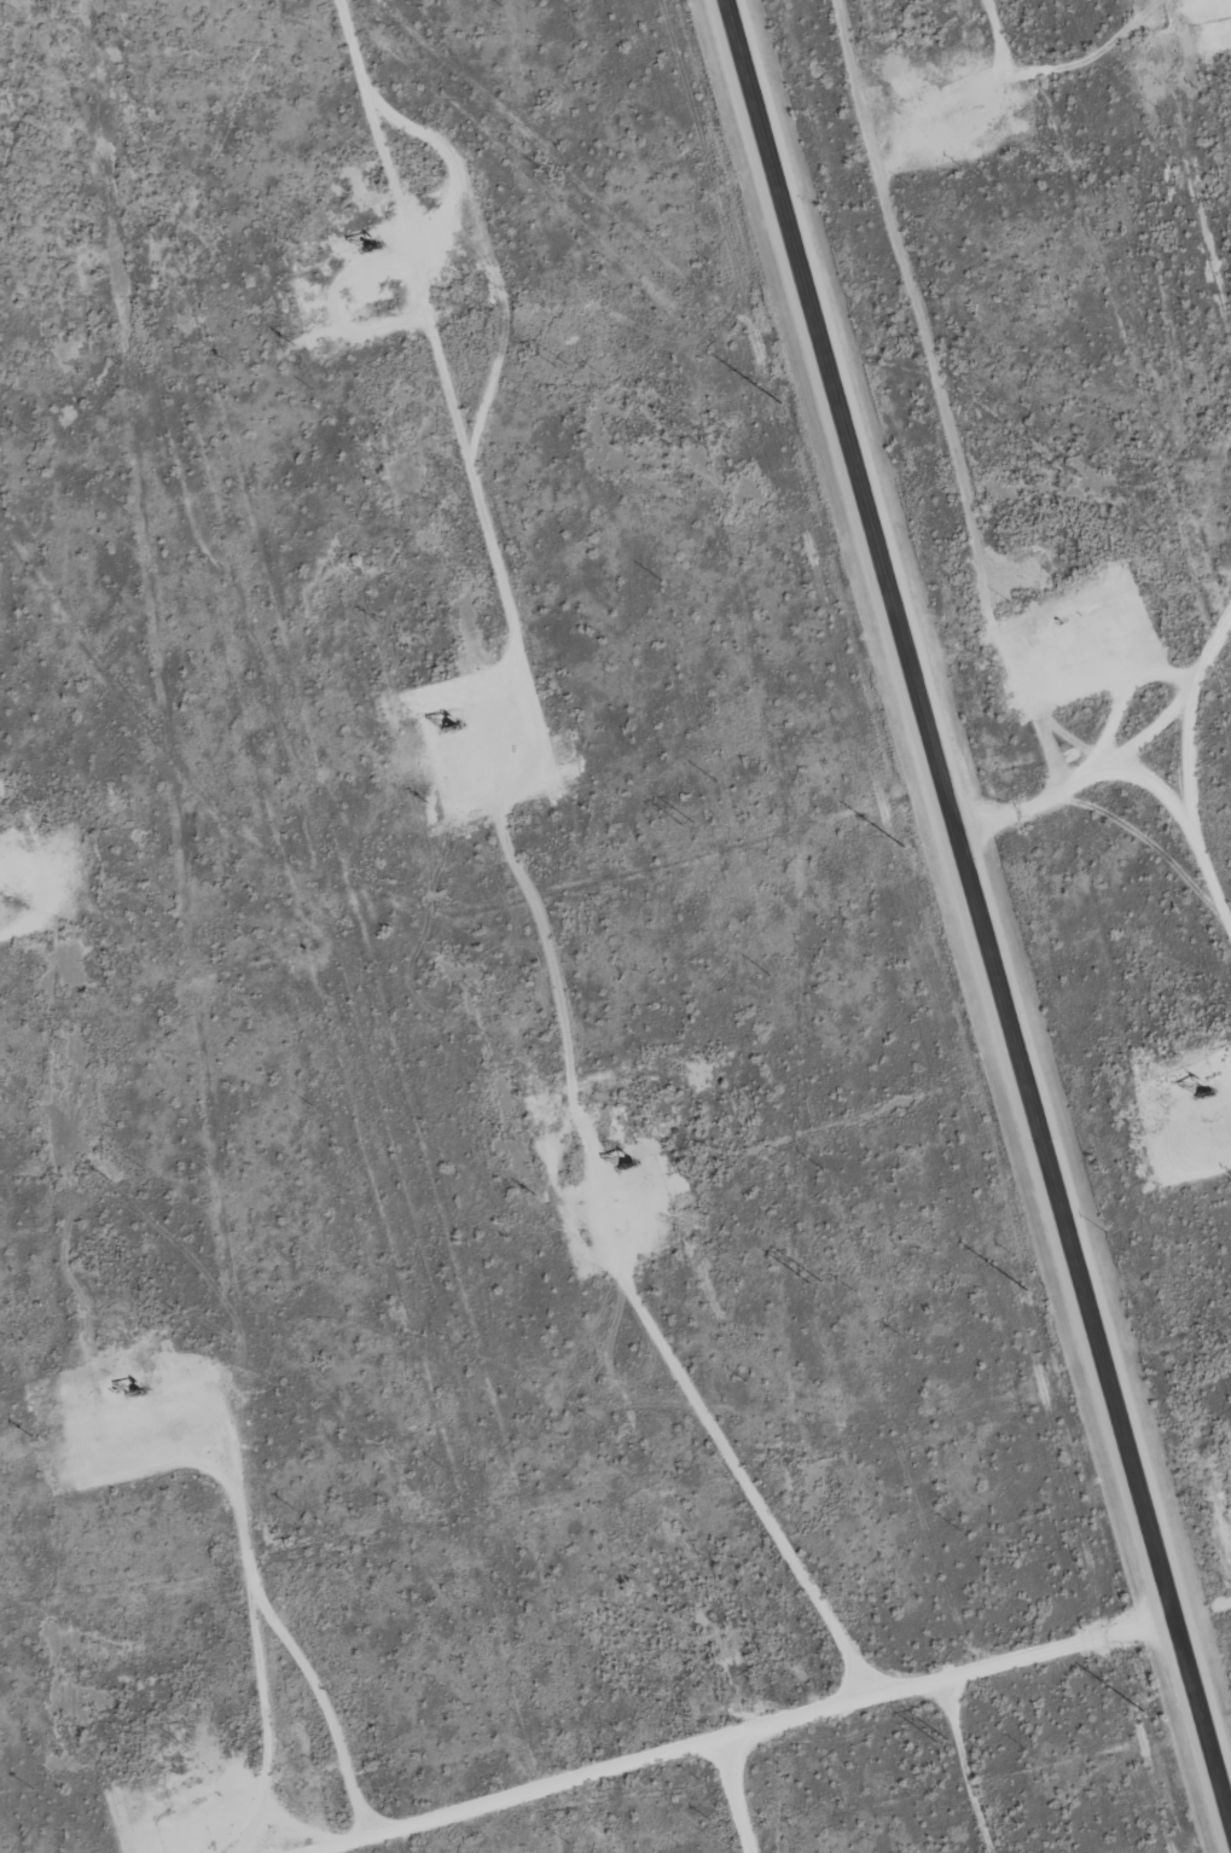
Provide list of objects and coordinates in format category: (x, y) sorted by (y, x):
road: (501, 343)
power tower: (563, 370)
road: (1119, 750)
power tower: (690, 824)
road: (979, 908)
power tower: (817, 1297)
road: (771, 1729)
power tower: (945, 1760)
road: (736, 1797)

